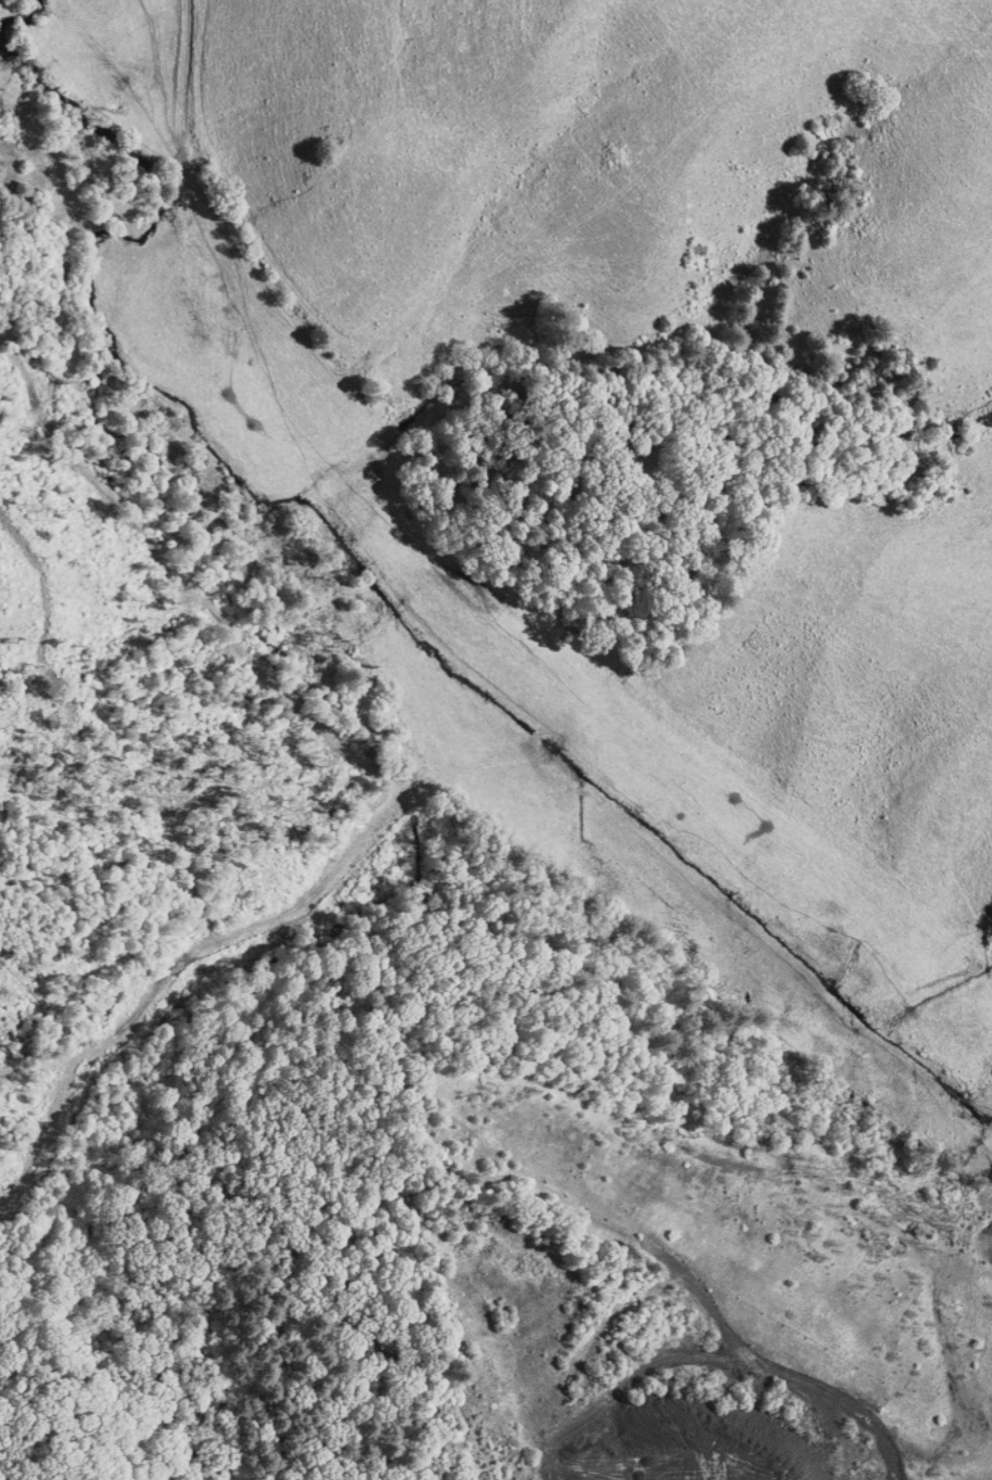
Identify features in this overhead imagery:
road: (221, 227)

